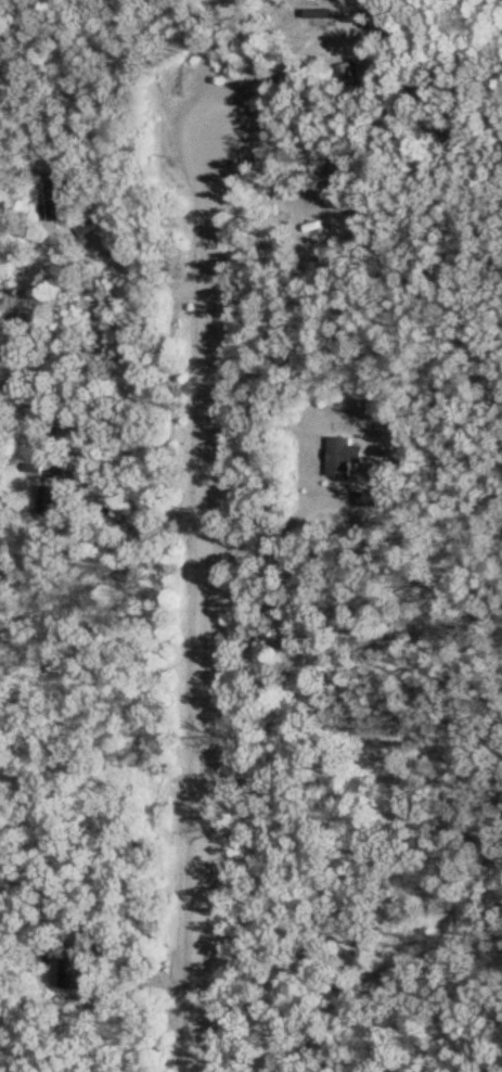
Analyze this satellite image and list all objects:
building: (348, 71)
building: (57, 200)
building: (92, 227)
building: (347, 455)
building: (375, 497)
road: (207, 603)
building: (79, 970)

